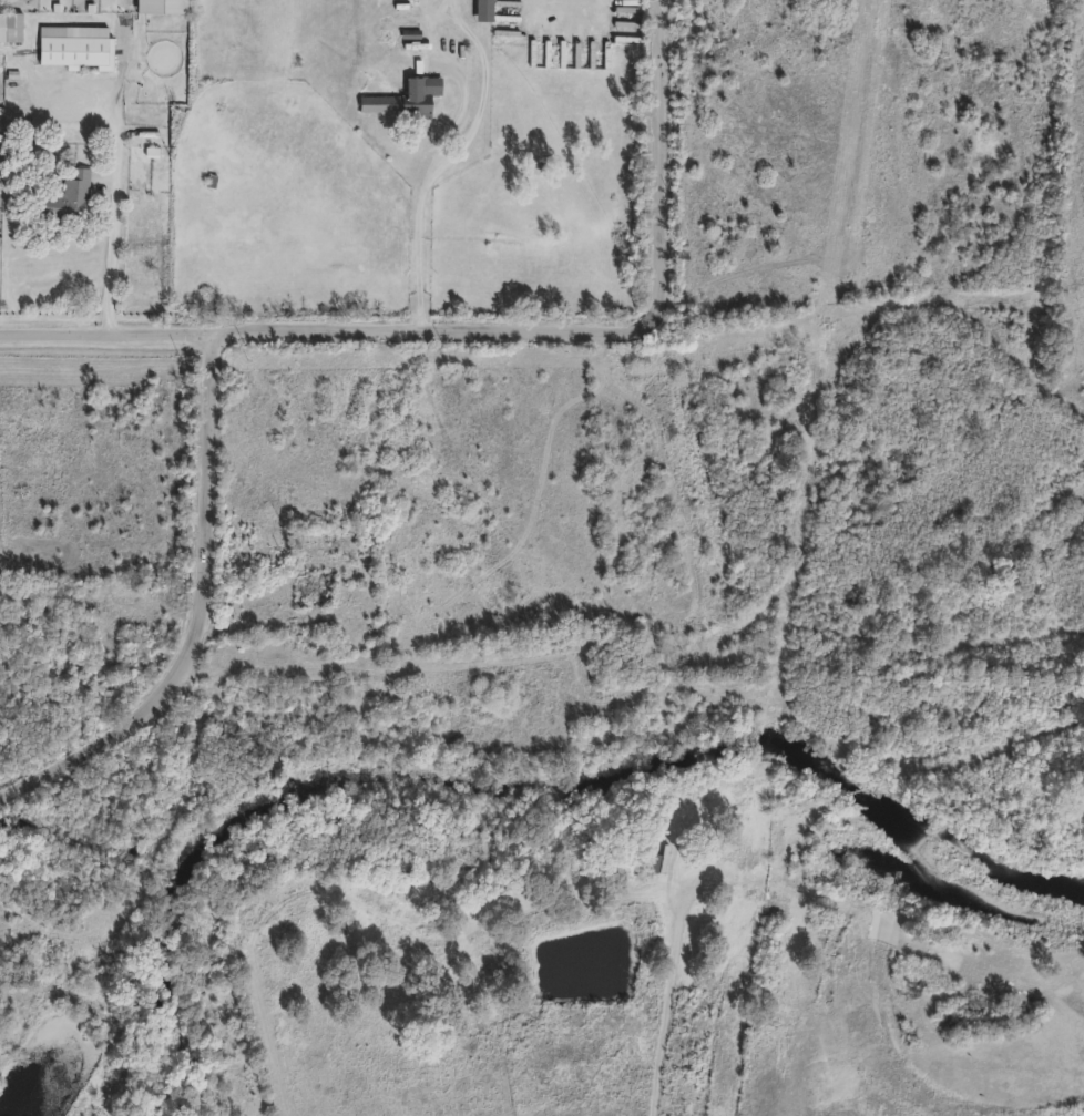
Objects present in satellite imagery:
building: (162, 8)
building: (484, 11)
building: (10, 27)
building: (74, 45)
building: (403, 101)
road: (436, 167)
road: (659, 167)
building: (64, 198)
road: (122, 207)
road: (425, 254)
road: (431, 334)
road: (106, 336)
road: (205, 620)
building: (645, 637)
building: (599, 735)

